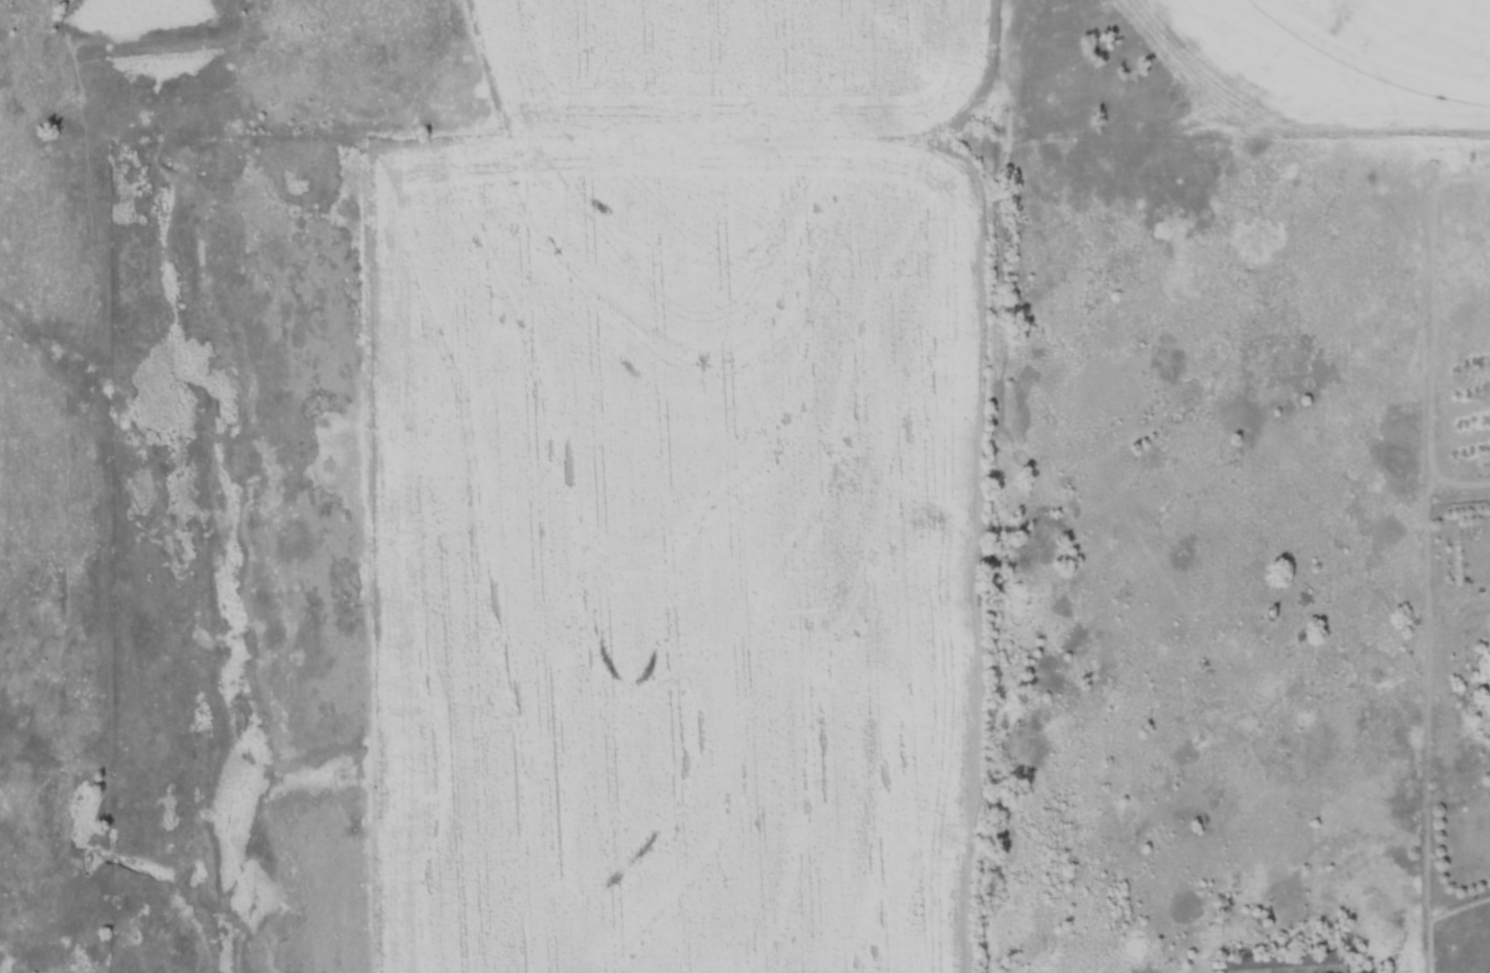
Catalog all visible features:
building: (1488, 659)
building: (1286, 963)

